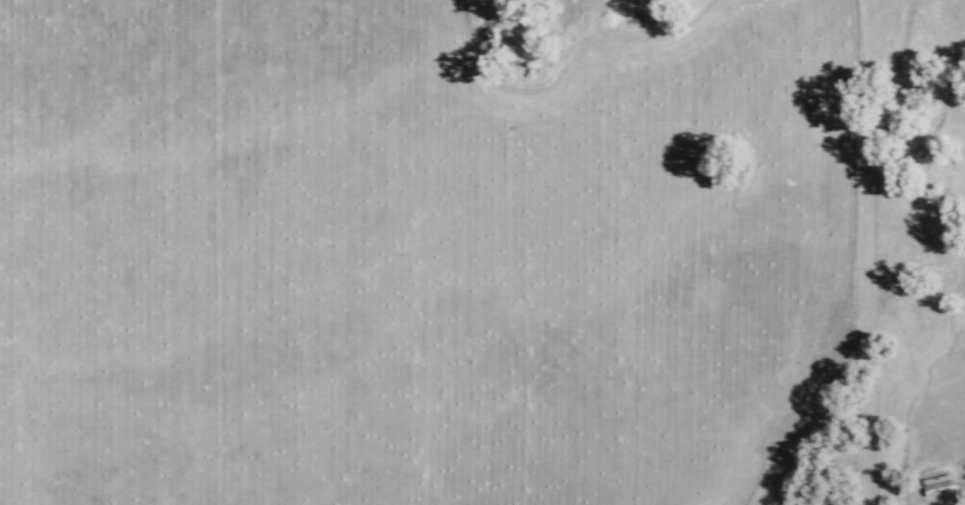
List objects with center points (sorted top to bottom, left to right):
building: (934, 485)

